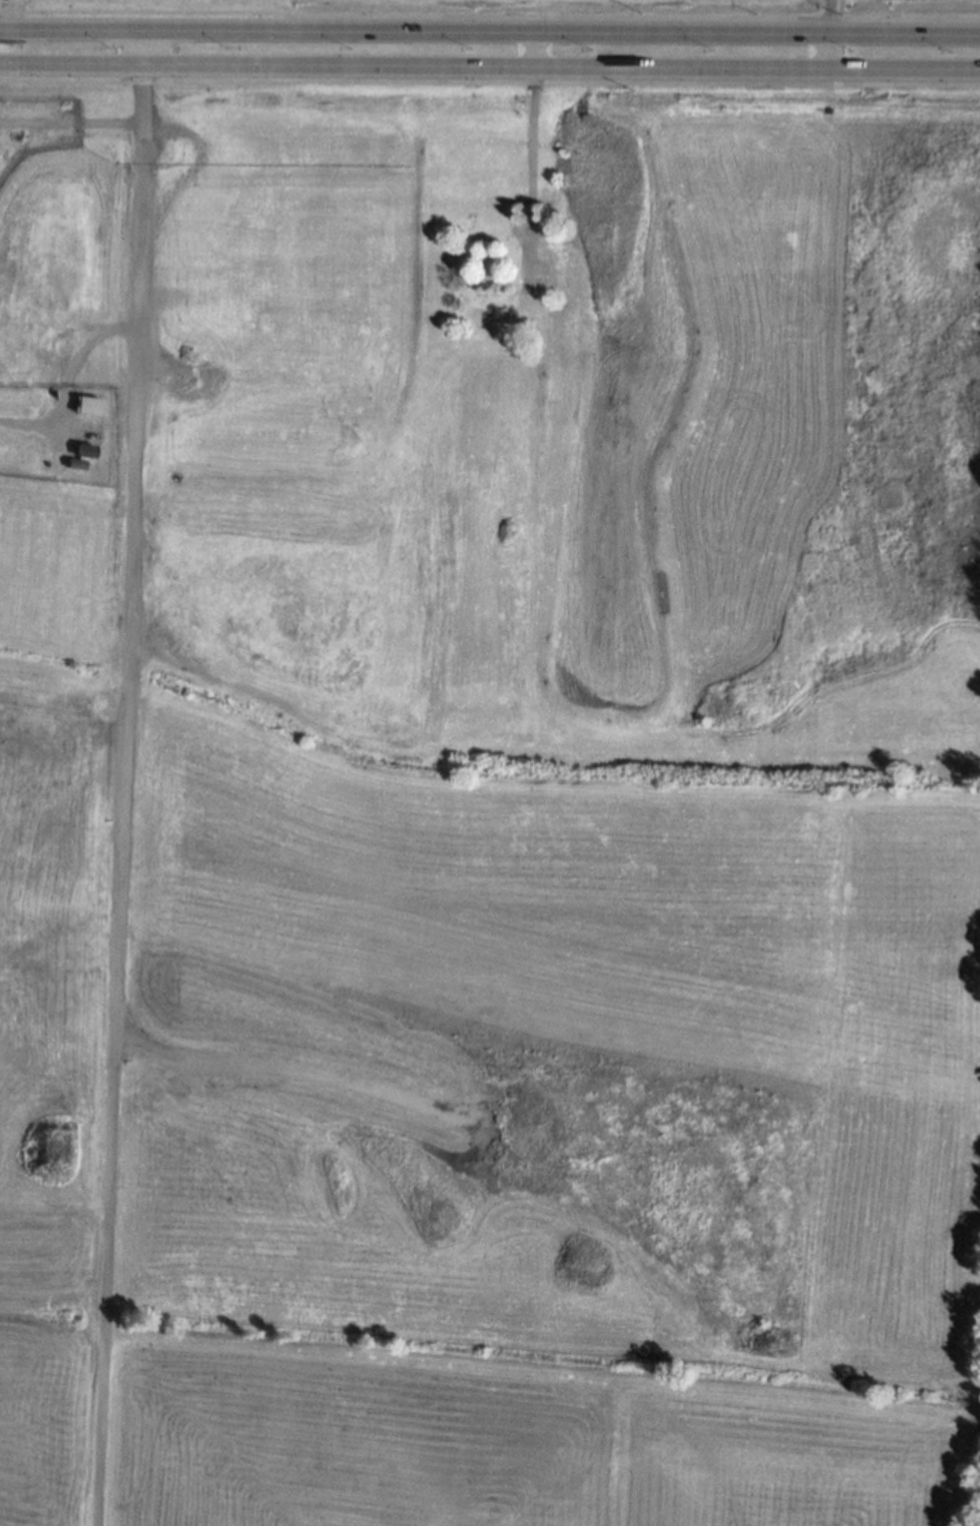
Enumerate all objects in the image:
airport: (508, 9)
road: (828, 16)
road: (490, 31)
road: (531, 50)
road: (824, 51)
road: (489, 68)
airport: (36, 131)
building: (87, 404)
building: (84, 449)
building: (75, 462)
road: (123, 778)

